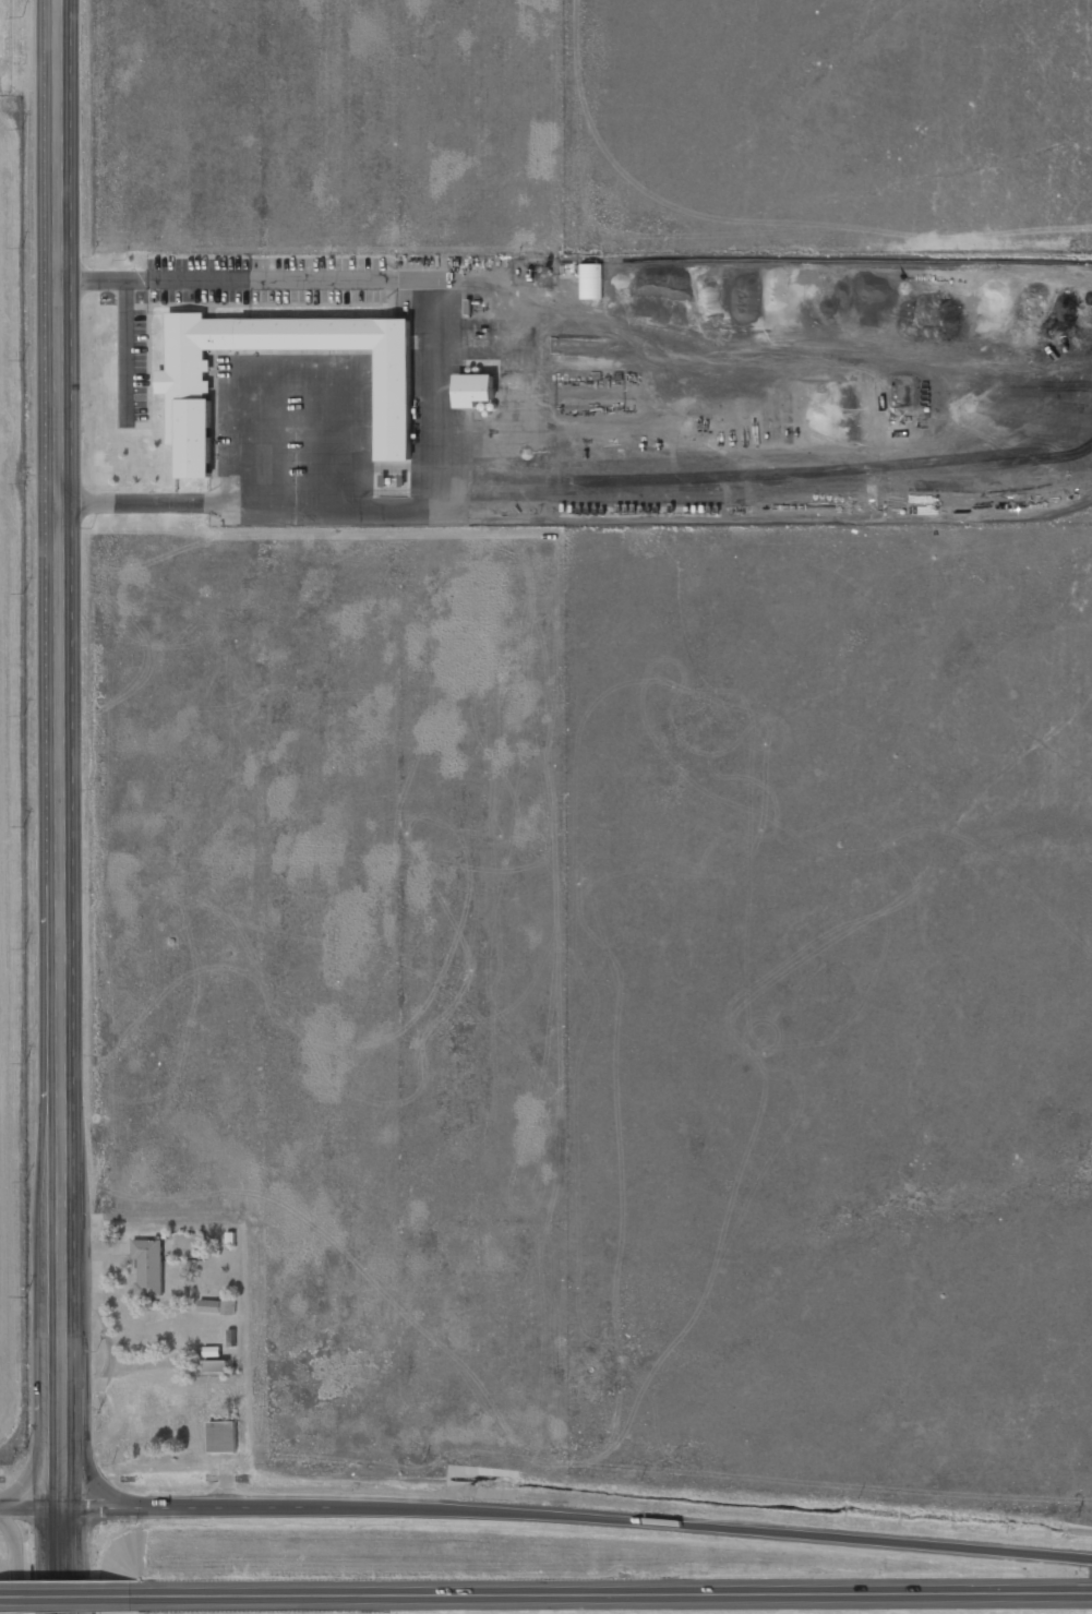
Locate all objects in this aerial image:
building: (591, 282)
building: (476, 390)
building: (189, 395)
road: (60, 754)
building: (149, 1268)
building: (211, 1306)
building: (230, 1306)
building: (232, 1338)
building: (213, 1352)
building: (217, 1366)
building: (224, 1436)
road: (47, 1440)
road: (85, 1444)
road: (31, 1508)
road: (577, 1518)
road: (62, 1561)
road: (14, 1564)
road: (264, 1589)
road: (72, 1591)
road: (736, 1593)

